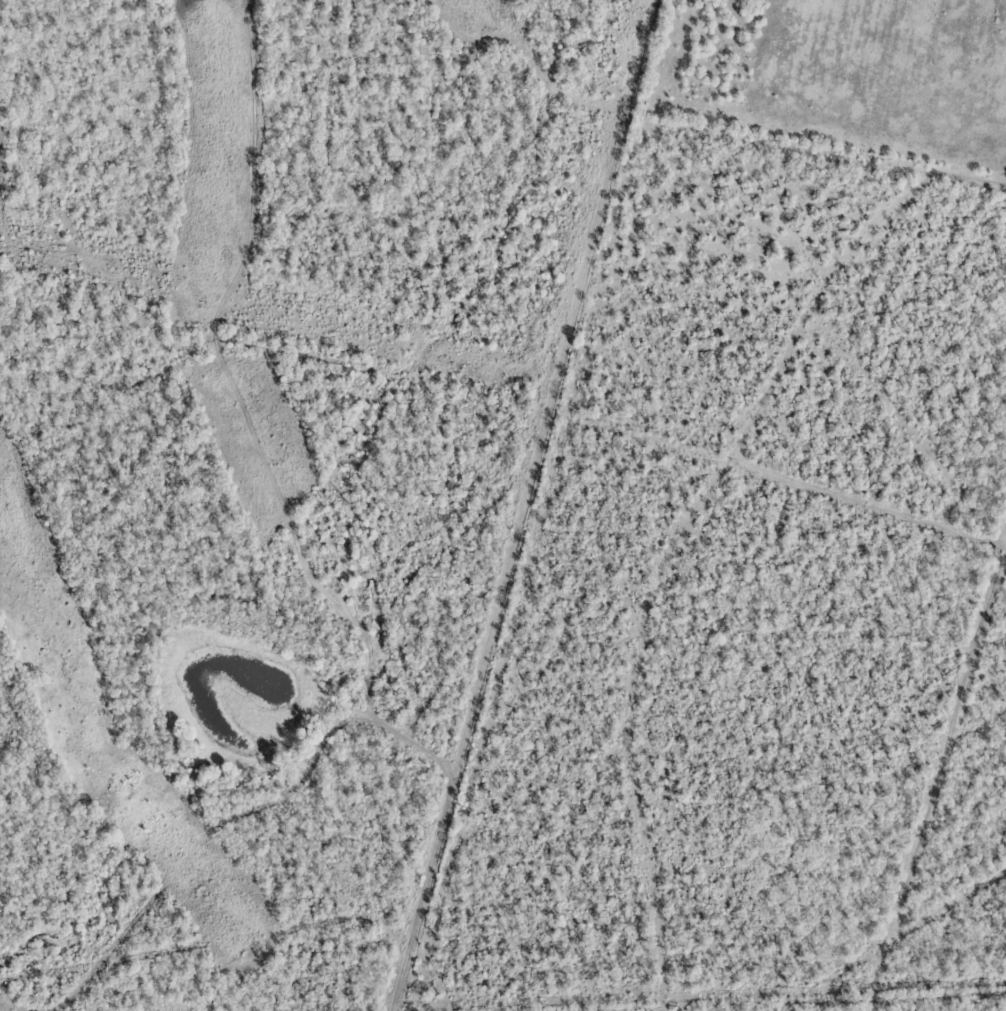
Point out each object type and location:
road: (361, 367)
road: (721, 526)

